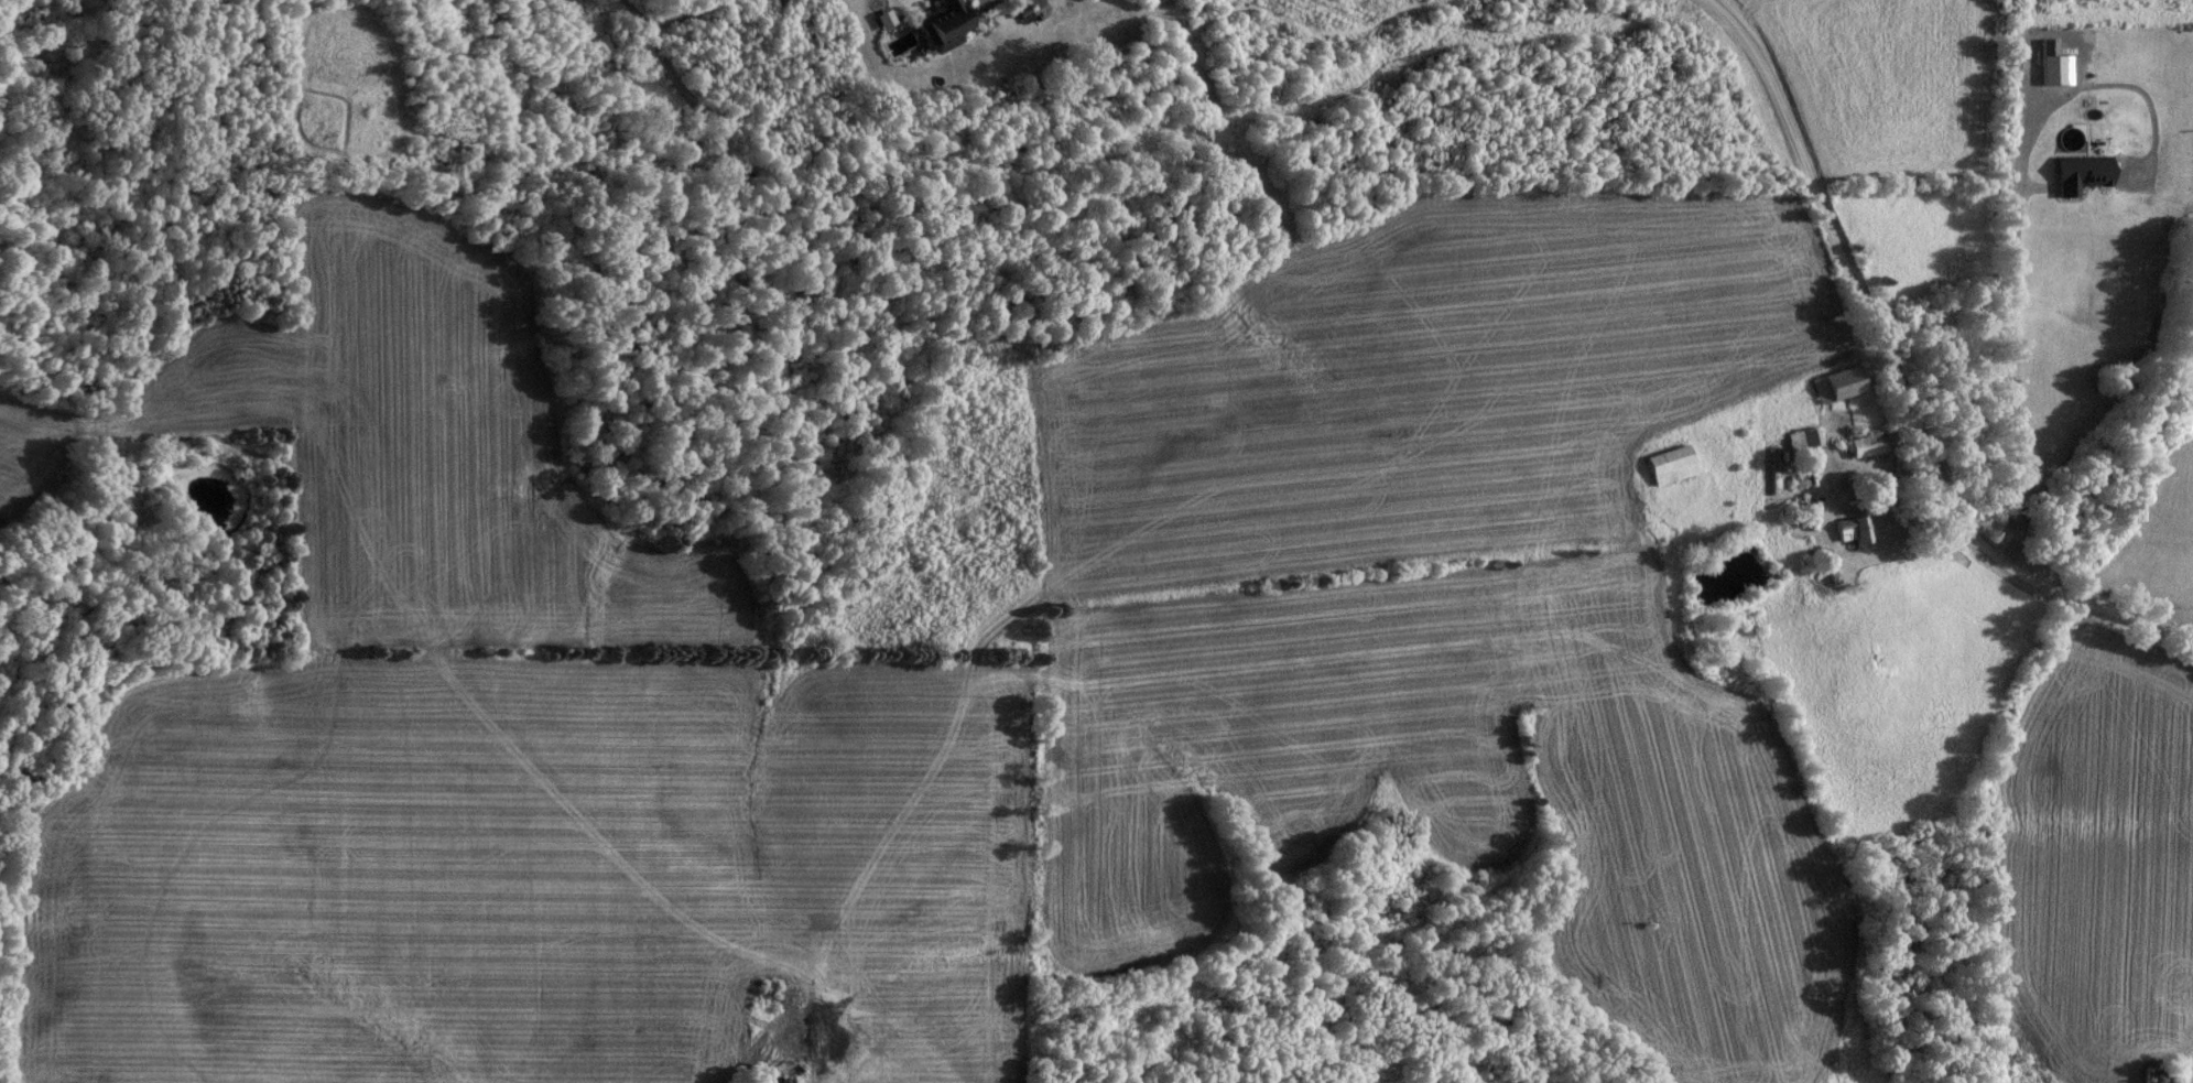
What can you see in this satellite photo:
building: (940, 24)
building: (2076, 174)
road: (1898, 377)
building: (1834, 386)
building: (1801, 438)
building: (1869, 445)
building: (1667, 466)
building: (1849, 530)
building: (2151, 1076)

